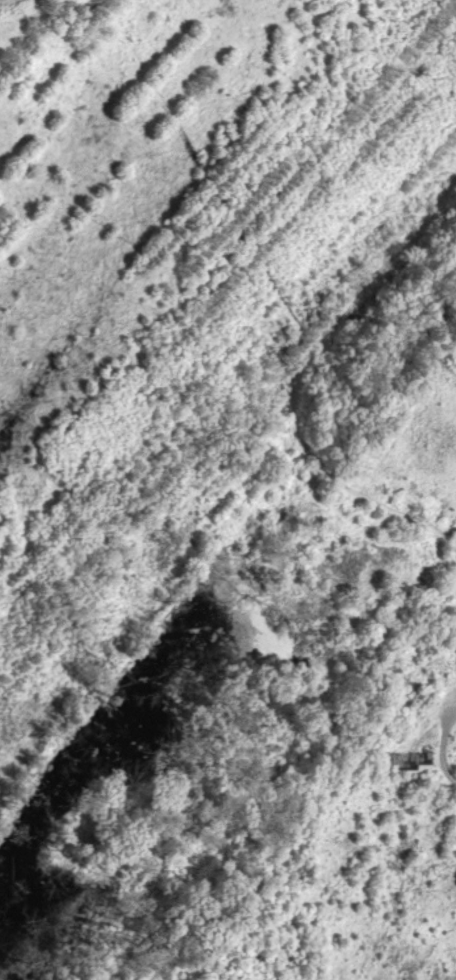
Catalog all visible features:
building: (412, 765)
road: (444, 770)

